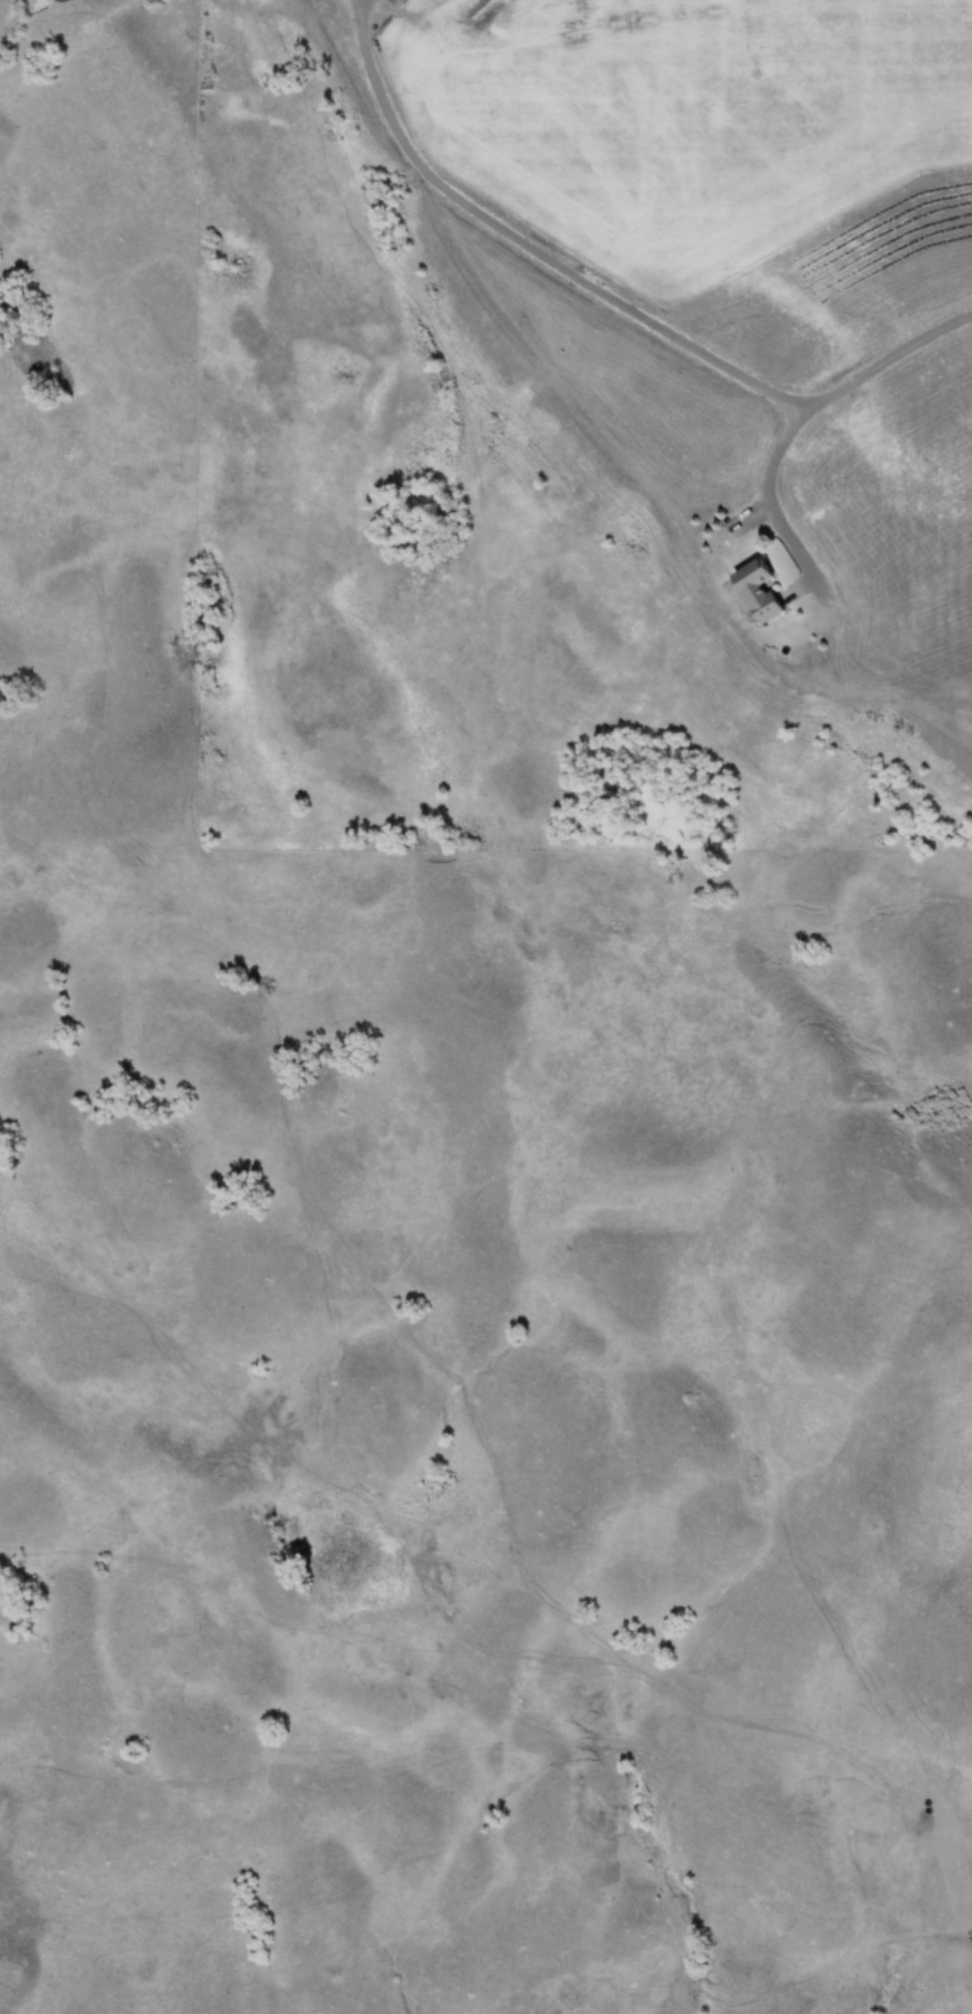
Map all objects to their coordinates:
road: (618, 299)
building: (769, 591)

